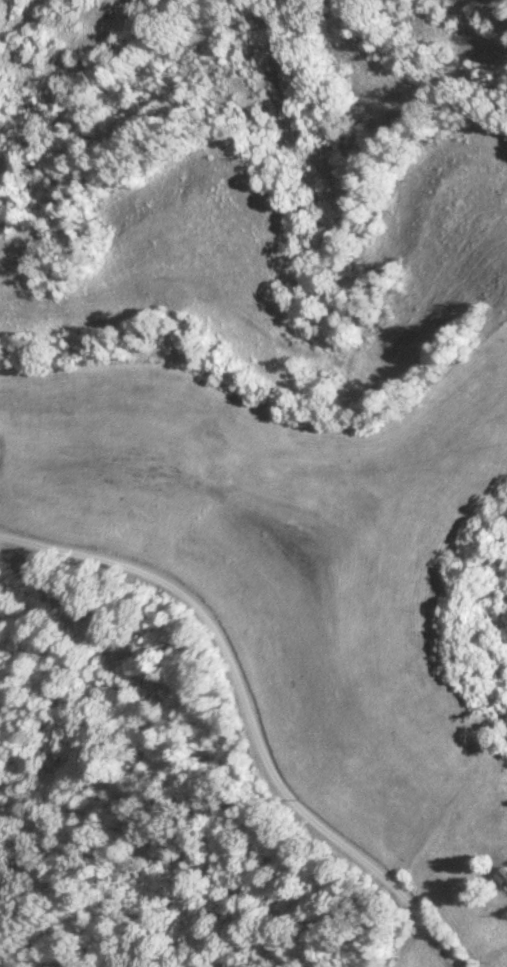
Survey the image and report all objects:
road: (251, 713)
building: (504, 876)

